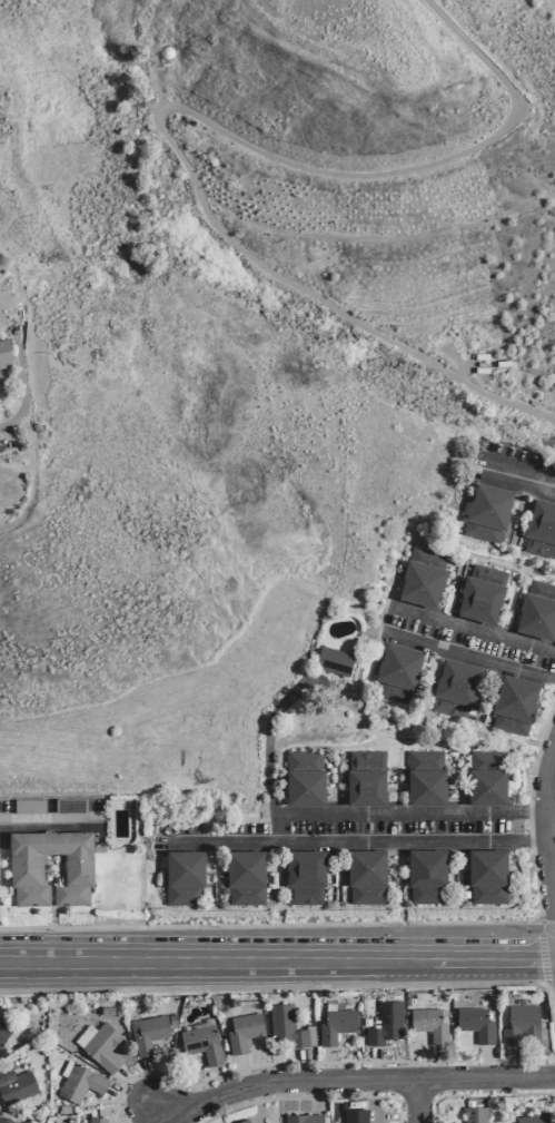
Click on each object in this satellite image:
road: (165, 110)
building: (4, 355)
road: (521, 477)
building: (487, 512)
building: (541, 529)
building: (423, 578)
building: (482, 593)
building: (537, 611)
road: (474, 629)
road: (469, 656)
building: (335, 661)
building: (397, 672)
building: (456, 688)
building: (515, 703)
road: (268, 746)
road: (538, 757)
building: (305, 778)
building: (366, 778)
building: (426, 778)
building: (486, 778)
building: (71, 806)
building: (29, 807)
road: (531, 811)
road: (398, 812)
road: (50, 825)
road: (531, 827)
road: (545, 833)
road: (532, 840)
road: (358, 841)
building: (26, 867)
building: (427, 875)
building: (487, 875)
building: (305, 876)
building: (367, 876)
building: (185, 877)
building: (246, 877)
road: (304, 924)
road: (543, 948)
road: (323, 959)
road: (44, 963)
road: (551, 984)
road: (296, 986)
building: (476, 1023)
building: (519, 1023)
building: (386, 1024)
building: (429, 1024)
building: (336, 1025)
building: (287, 1026)
building: (244, 1032)
building: (148, 1033)
building: (1, 1040)
building: (202, 1043)
building: (103, 1047)
road: (490, 1062)
road: (315, 1063)
road: (376, 1063)
road: (439, 1063)
road: (511, 1063)
road: (305, 1065)
road: (328, 1065)
road: (242, 1073)
road: (357, 1078)
road: (147, 1081)
building: (80, 1083)
road: (194, 1083)
building: (16, 1085)
road: (135, 1086)
road: (483, 1094)
road: (129, 1095)
road: (317, 1095)
road: (309, 1097)
road: (417, 1101)
road: (257, 1104)
road: (160, 1112)
building: (476, 1114)
building: (355, 1115)
road: (377, 1115)
building: (535, 1117)
building: (304, 1119)
building: (97, 1120)
building: (7, 1121)
building: (244, 1121)
road: (171, 1122)

